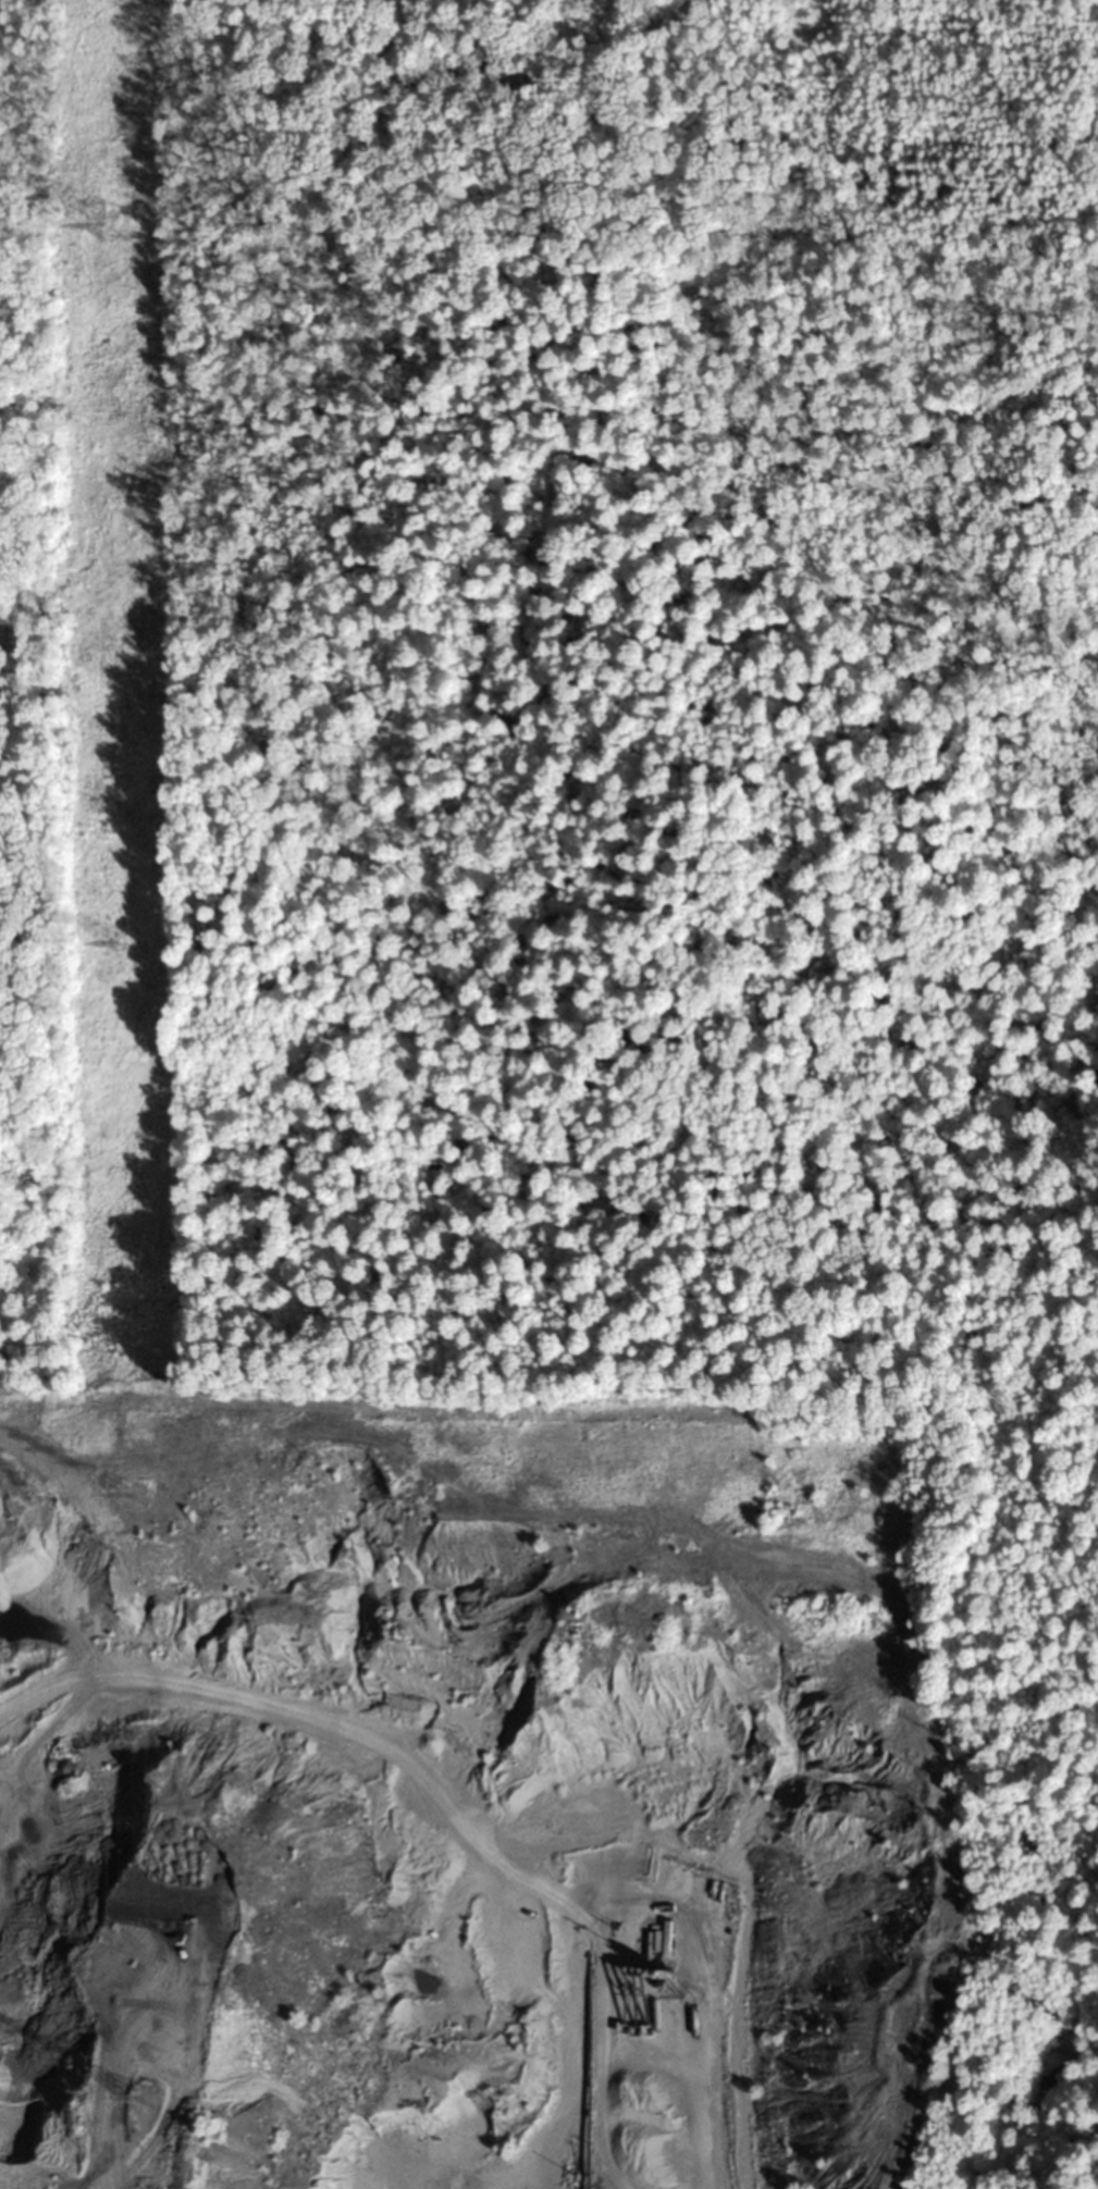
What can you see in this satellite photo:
power tower: (111, 224)
power tower: (124, 943)
power tower: (133, 1494)
quarry: (592, 1870)
power tower: (139, 2097)

